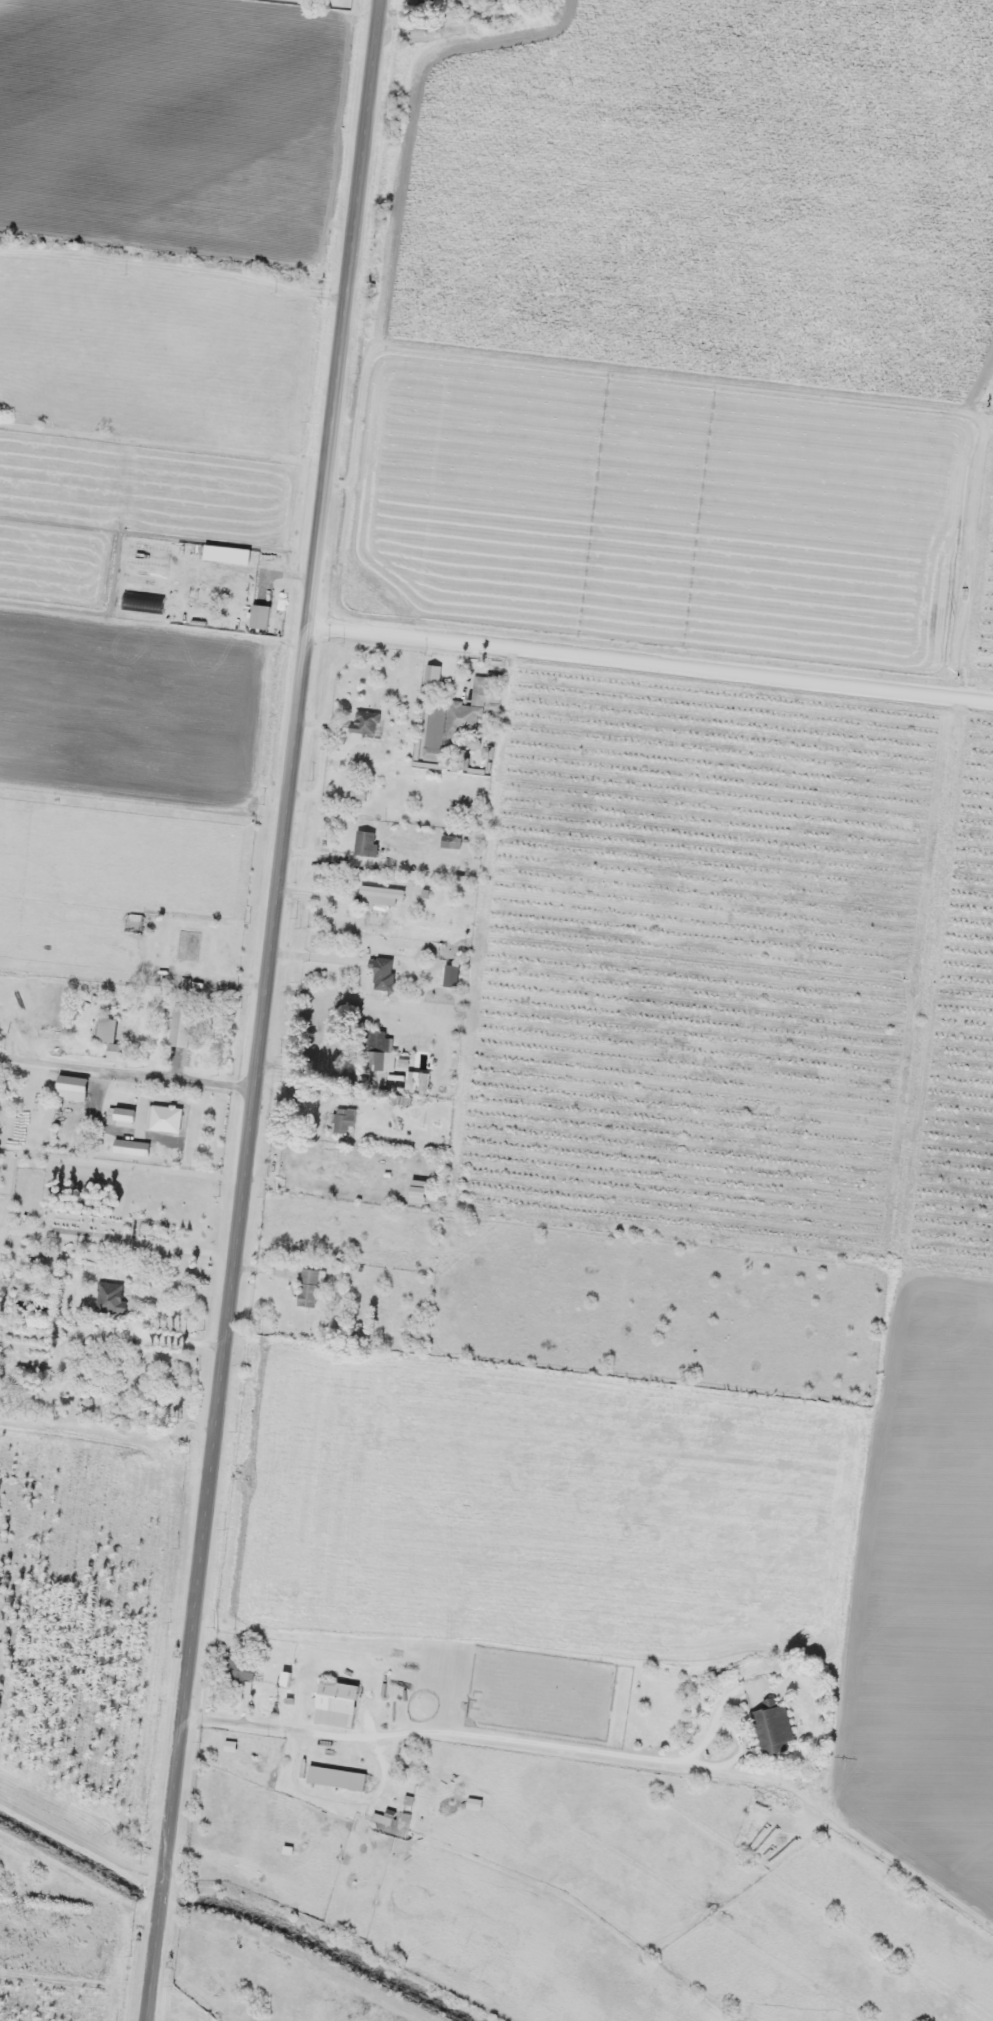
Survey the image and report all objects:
road: (176, 267)
building: (204, 575)
building: (260, 616)
road: (652, 666)
building: (478, 695)
building: (456, 720)
building: (365, 724)
building: (358, 792)
building: (365, 843)
building: (379, 896)
building: (383, 974)
building: (452, 976)
building: (0, 1010)
road: (266, 1010)
building: (180, 1026)
building: (110, 1038)
building: (378, 1052)
building: (121, 1117)
building: (166, 1119)
building: (349, 1119)
building: (308, 1288)
building: (109, 1298)
building: (239, 1671)
building: (336, 1704)
building: (772, 1728)
building: (336, 1778)

